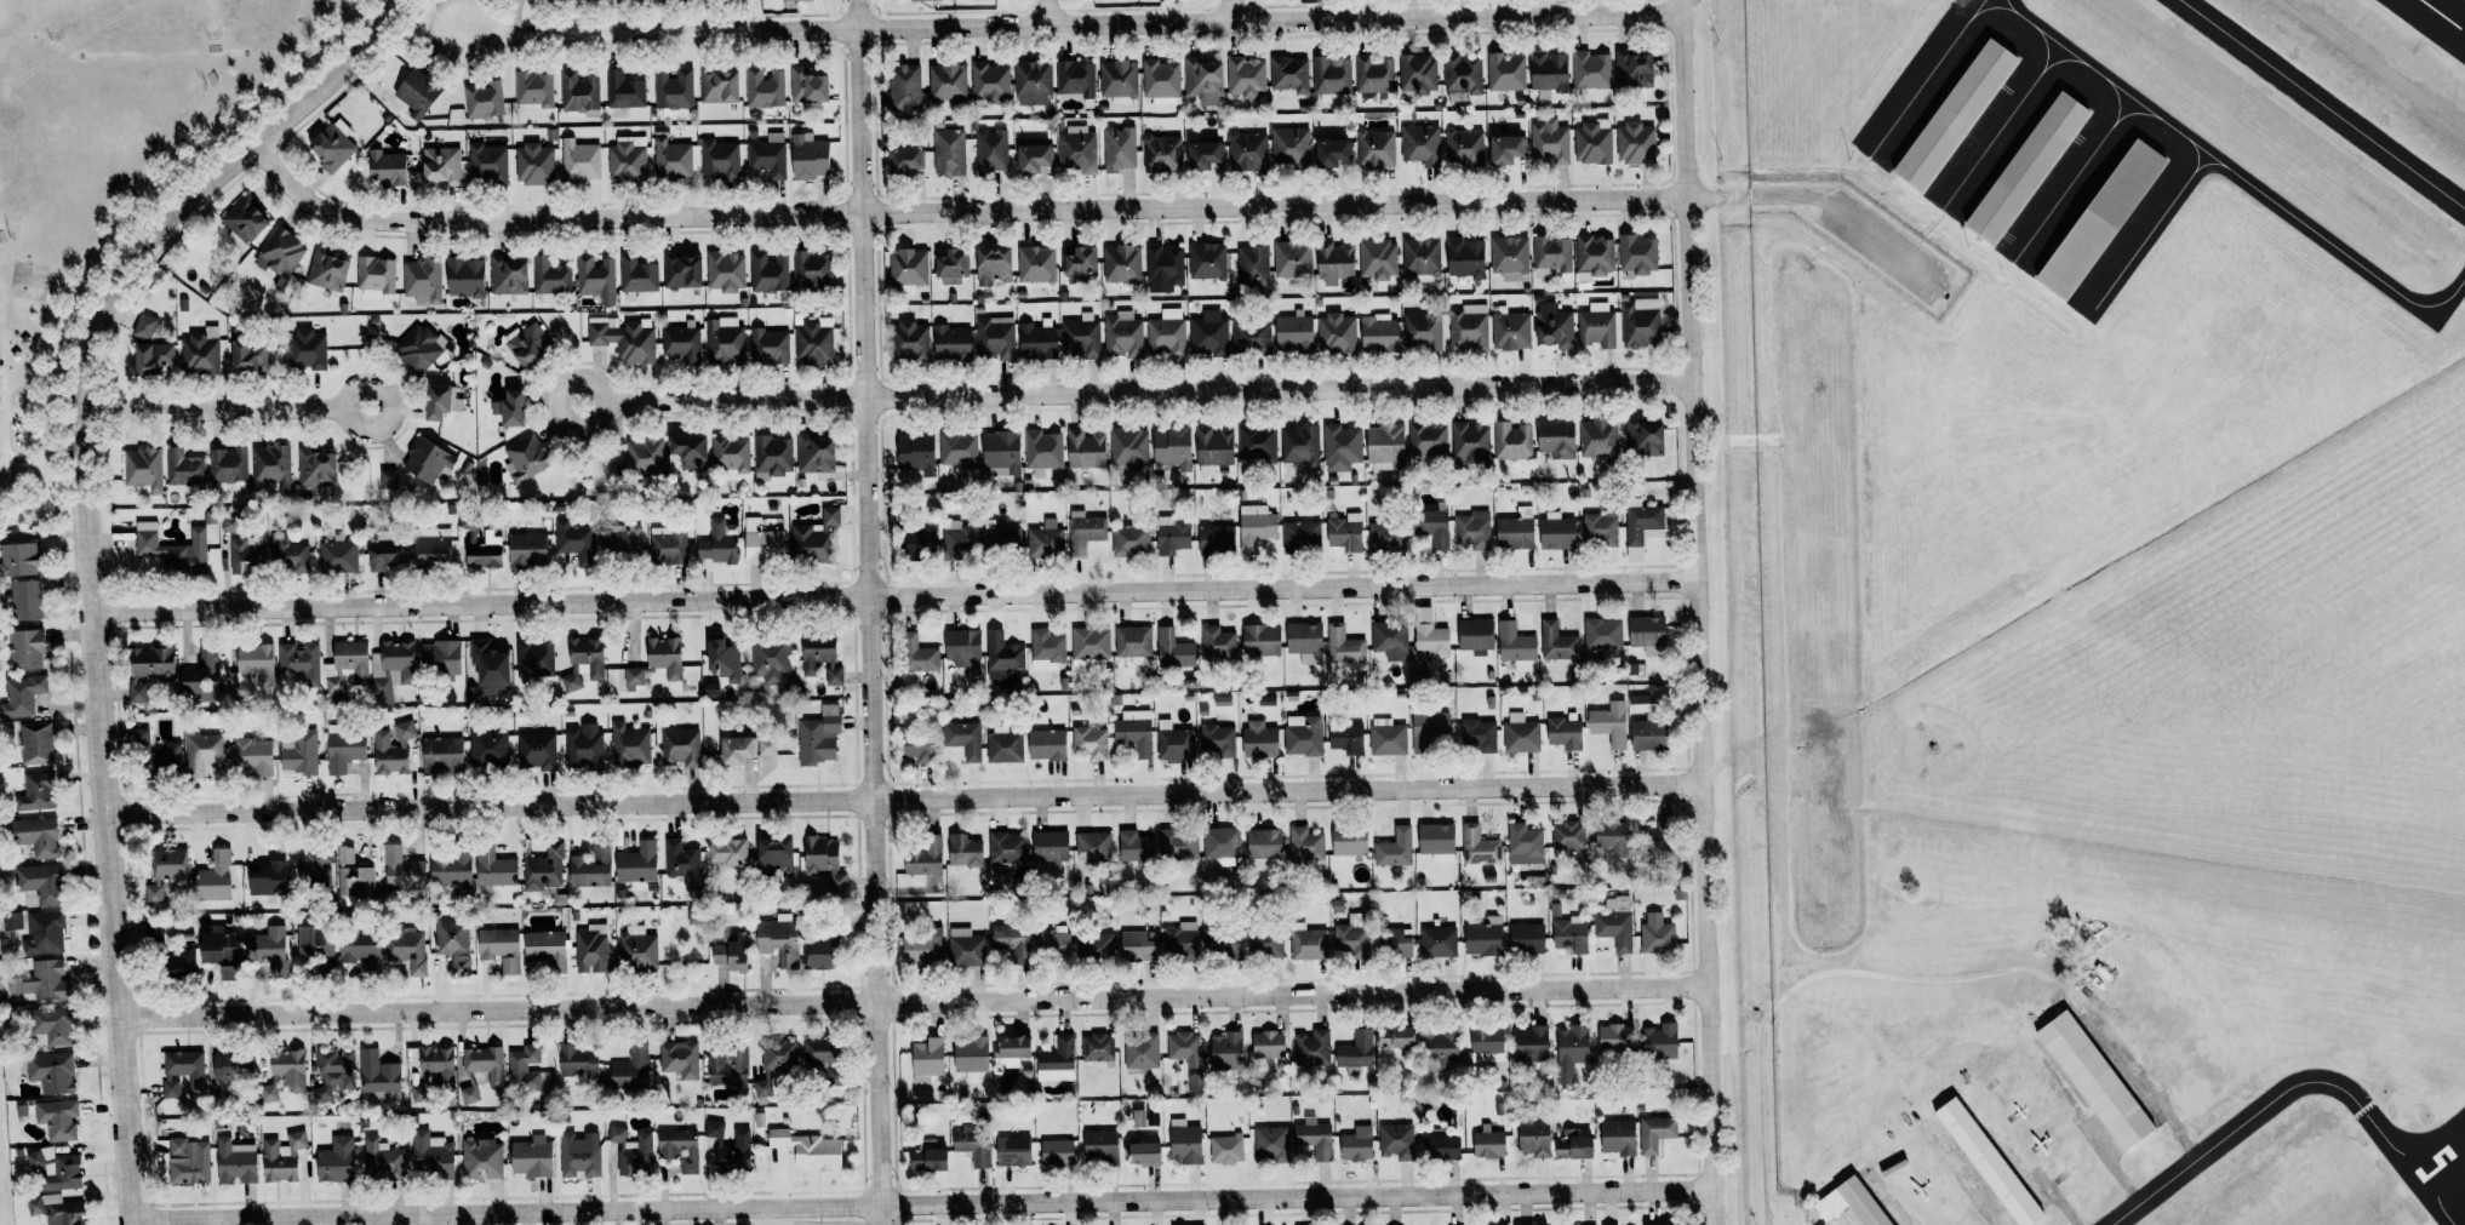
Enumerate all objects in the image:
building: (543, 0)
building: (794, 0)
building: (920, 0)
road: (1979, 1)
road: (1687, 6)
airport taxiway: (1995, 10)
road: (1230, 11)
road: (1043, 12)
road: (431, 13)
airport runway: (2442, 16)
airport taxiway: (2446, 18)
road: (1269, 21)
airport runway: (2420, 32)
road: (658, 33)
airport taxiway: (2060, 61)
building: (1632, 69)
building: (1505, 73)
building: (1548, 73)
building: (1590, 73)
building: (1288, 74)
building: (1418, 74)
building: (1331, 75)
building: (1246, 76)
building: (1373, 76)
building: (1462, 76)
building: (1075, 78)
airport taxiway: (1927, 78)
building: (946, 81)
building: (989, 81)
building: (1117, 81)
building: (1160, 81)
building: (1202, 81)
building: (1031, 82)
building: (716, 86)
building: (806, 86)
building: (533, 88)
building: (673, 88)
building: (763, 88)
building: (904, 88)
building: (578, 91)
building: (623, 91)
building: (417, 92)
building: (484, 99)
airport taxiway: (2322, 104)
airport taxiway: (2131, 113)
building: (1955, 115)
airport taxiway: (2004, 121)
building: (1549, 142)
building: (1592, 142)
building: (1419, 143)
building: (1635, 143)
building: (331, 145)
building: (1289, 145)
building: (1464, 147)
building: (1119, 148)
building: (1376, 148)
building: (1076, 150)
building: (1504, 150)
building: (991, 151)
building: (1247, 151)
building: (948, 153)
building: (1331, 153)
building: (1161, 154)
building: (1203, 155)
building: (767, 156)
building: (807, 156)
building: (1031, 158)
building: (627, 159)
building: (670, 159)
building: (719, 160)
building: (902, 160)
building: (579, 161)
building: (487, 164)
airport taxiway: (2204, 164)
building: (440, 165)
building: (533, 165)
airport apron: (1972, 166)
building: (384, 168)
building: (2026, 170)
park: (115, 171)
airport taxiway: (2234, 172)
airport taxiway: (2076, 173)
road: (1756, 196)
road: (953, 213)
building: (2100, 219)
building: (242, 223)
airport taxiway: (2149, 227)
road: (120, 228)
parking lot: (1888, 247)
building: (280, 252)
building: (1552, 253)
building: (1637, 254)
building: (1420, 256)
building: (1594, 256)
building: (1377, 258)
building: (1464, 258)
building: (1510, 258)
building: (1292, 259)
building: (1206, 261)
building: (1080, 262)
building: (1334, 262)
building: (1036, 264)
building: (1121, 264)
building: (1252, 264)
building: (991, 265)
building: (908, 267)
building: (1163, 267)
building: (951, 268)
building: (811, 269)
building: (326, 270)
building: (680, 270)
building: (725, 271)
building: (767, 273)
building: (636, 274)
building: (507, 275)
building: (463, 276)
building: (549, 276)
building: (374, 277)
building: (595, 277)
building: (422, 280)
park: (28, 281)
building: (1640, 322)
building: (1596, 326)
building: (143, 327)
building: (1554, 327)
building: (1468, 328)
building: (1423, 330)
building: (1510, 330)
building: (1293, 332)
building: (1166, 333)
building: (1208, 333)
building: (1336, 333)
building: (1377, 333)
building: (1080, 336)
building: (1122, 336)
building: (623, 338)
building: (994, 338)
building: (1251, 338)
building: (1036, 339)
building: (724, 340)
building: (908, 340)
building: (813, 343)
building: (950, 343)
building: (527, 345)
building: (768, 347)
building: (417, 348)
building: (305, 350)
building: (200, 353)
building: (250, 356)
building: (151, 359)
road: (1279, 394)
road: (737, 400)
road: (394, 402)
building: (439, 402)
road: (557, 405)
road: (213, 408)
building: (508, 410)
road: (62, 427)
building: (1555, 439)
building: (1597, 439)
building: (1642, 439)
building: (1426, 440)
building: (1512, 441)
building: (1257, 443)
building: (1384, 443)
building: (1469, 443)
building: (1300, 446)
building: (1128, 447)
building: (1171, 447)
building: (1340, 447)
building: (957, 450)
building: (1085, 450)
building: (1212, 450)
building: (1042, 451)
building: (687, 452)
building: (915, 453)
building: (813, 454)
building: (1000, 454)
building: (731, 456)
building: (772, 456)
building: (644, 457)
building: (525, 458)
building: (428, 462)
building: (227, 465)
building: (270, 465)
building: (183, 468)
building: (314, 468)
building: (142, 470)
building: (388, 481)
building: (1641, 523)
building: (1254, 526)
building: (1434, 527)
building: (1600, 528)
building: (1472, 530)
building: (1515, 530)
building: (1087, 531)
building: (1345, 532)
building: (1556, 532)
building: (1171, 534)
building: (1300, 534)
building: (571, 537)
building: (1386, 537)
building: (813, 538)
building: (1216, 538)
building: (960, 540)
building: (1129, 540)
building: (620, 542)
building: (1045, 542)
building: (715, 544)
building: (916, 544)
building: (667, 545)
building: (761, 545)
building: (172, 549)
building: (526, 550)
road: (88, 551)
building: (484, 553)
building: (287, 554)
building: (244, 556)
building: (337, 556)
building: (383, 556)
building: (17, 560)
road: (896, 597)
building: (25, 601)
airport: (2112, 607)
road: (871, 612)
road: (1695, 612)
building: (1602, 634)
building: (1475, 635)
building: (1647, 635)
building: (1430, 640)
building: (1132, 641)
building: (1260, 641)
building: (1390, 641)
building: (1304, 642)
building: (1089, 643)
building: (1217, 643)
building: (1514, 643)
building: (1557, 643)
building: (1344, 646)
building: (24, 648)
building: (961, 648)
building: (1046, 649)
building: (1173, 651)
building: (1001, 656)
building: (663, 657)
building: (439, 658)
building: (819, 658)
building: (915, 658)
building: (533, 659)
building: (722, 660)
building: (254, 663)
building: (299, 663)
building: (580, 663)
building: (771, 663)
building: (1142, 663)
building: (345, 665)
building: (393, 670)
building: (148, 671)
building: (200, 677)
building: (633, 677)
building: (709, 689)
building: (22, 695)
building: (1609, 723)
building: (1430, 729)
building: (404, 731)
building: (1134, 731)
building: (1563, 732)
building: (1302, 734)
building: (1479, 734)
building: (1520, 734)
building: (818, 735)
building: (1648, 735)
building: (1386, 737)
building: (963, 738)
building: (1345, 738)
building: (1259, 739)
building: (1217, 740)
building: (1091, 742)
building: (1174, 742)
building: (35, 743)
building: (628, 744)
building: (1003, 744)
building: (1046, 744)
building: (582, 745)
building: (766, 745)
building: (487, 746)
building: (680, 746)
building: (342, 748)
building: (915, 748)
building: (736, 749)
building: (536, 750)
building: (201, 751)
building: (298, 751)
building: (441, 752)
building: (251, 754)
building: (388, 754)
building: (154, 756)
building: (35, 791)
road: (903, 802)
building: (1567, 834)
building: (35, 835)
building: (1652, 836)
building: (1612, 837)
building: (1349, 840)
building: (1436, 841)
building: (1220, 842)
building: (1178, 843)
building: (1305, 843)
building: (1263, 845)
building: (1523, 845)
building: (1007, 847)
building: (1092, 847)
building: (1134, 847)
building: (1051, 848)
building: (1394, 848)
building: (1477, 848)
building: (962, 849)
building: (727, 852)
building: (772, 855)
building: (923, 857)
building: (823, 860)
building: (637, 863)
building: (682, 863)
building: (448, 868)
building: (591, 868)
building: (492, 869)
building: (401, 870)
building: (543, 870)
building: (166, 874)
building: (318, 874)
building: (268, 875)
building: (351, 875)
building: (1000, 875)
building: (213, 877)
building: (38, 883)
building: (1617, 904)
building: (1338, 912)
building: (12, 920)
building: (1614, 929)
building: (158, 932)
building: (42, 933)
building: (1569, 934)
building: (1351, 935)
building: (1483, 937)
building: (1657, 937)
building: (1526, 938)
building: (1179, 939)
building: (777, 940)
building: (1031, 940)
building: (314, 941)
building: (1396, 941)
building: (1437, 941)
building: (453, 943)
building: (1222, 943)
building: (1264, 943)
building: (1308, 943)
building: (1137, 944)
building: (1094, 945)
building: (358, 946)
building: (920, 946)
building: (965, 946)
building: (407, 948)
building: (499, 948)
building: (545, 948)
building: (590, 949)
building: (637, 949)
building: (218, 950)
building: (263, 950)
building: (730, 951)
building: (819, 952)
building: (179, 962)
road: (1815, 978)
building: (45, 979)
road: (913, 1003)
building: (50, 1026)
building: (1395, 1036)
building: (1613, 1037)
building: (1660, 1041)
building: (1440, 1042)
building: (1531, 1042)
building: (1486, 1043)
building: (1268, 1044)
building: (1097, 1046)
building: (1183, 1046)
building: (1312, 1048)
building: (1011, 1049)
building: (1140, 1051)
building: (1226, 1051)
building: (1571, 1051)
building: (1356, 1053)
building: (820, 1055)
building: (970, 1055)
building: (778, 1057)
building: (927, 1057)
building: (680, 1059)
building: (577, 1060)
building: (1056, 1060)
building: (485, 1063)
building: (437, 1064)
building: (231, 1065)
building: (727, 1066)
building: (524, 1067)
building: (630, 1070)
building: (50, 1071)
building: (182, 1071)
building: (333, 1074)
building: (377, 1074)
building: (2097, 1083)
airport taxiway: (2289, 1087)
building: (762, 1088)
building: (268, 1093)
building: (57, 1118)
building: (713, 1128)
building: (1655, 1133)
building: (1314, 1137)
building: (1533, 1137)
building: (1617, 1137)
building: (1396, 1140)
building: (1184, 1141)
building: (1271, 1143)
building: (1356, 1144)
building: (1441, 1144)
building: (1487, 1144)
building: (972, 1145)
building: (1572, 1145)
building: (1099, 1146)
building: (677, 1147)
building: (1225, 1149)
building: (807, 1150)
building: (631, 1151)
building: (1012, 1151)
building: (1056, 1152)
building: (1143, 1152)
building: (732, 1154)
building: (431, 1156)
building: (530, 1156)
building: (577, 1156)
building: (926, 1156)
building: (281, 1157)
building: (482, 1158)
building: (382, 1160)
building: (188, 1161)
building: (234, 1161)
building: (336, 1161)
airport runway: (2436, 1163)
building: (1989, 1164)
building: (55, 1168)
airport runway: (2393, 1170)
building: (1863, 1203)
road: (921, 1204)
building: (55, 1208)

